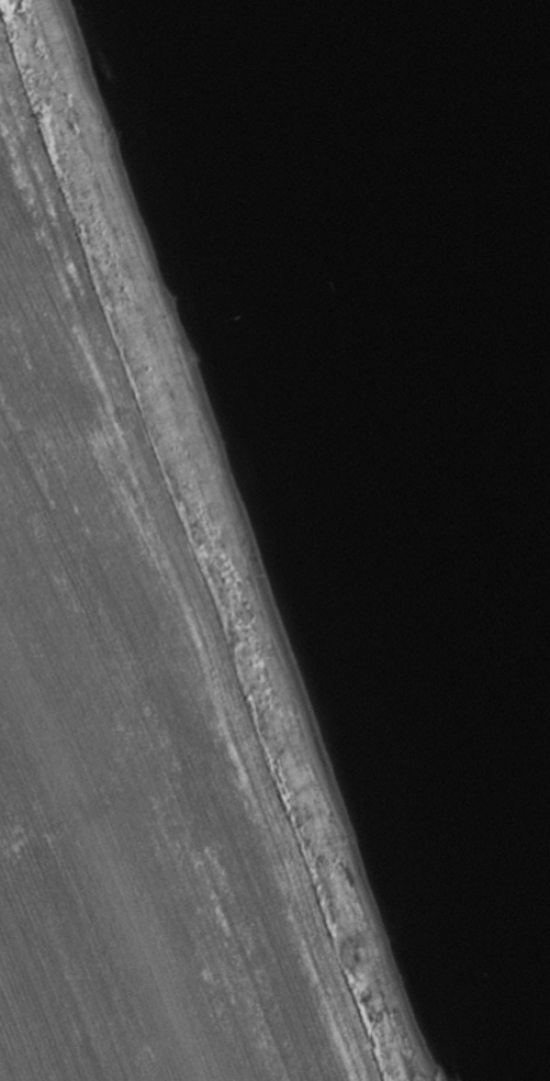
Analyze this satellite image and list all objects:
crop: (151, 660)

